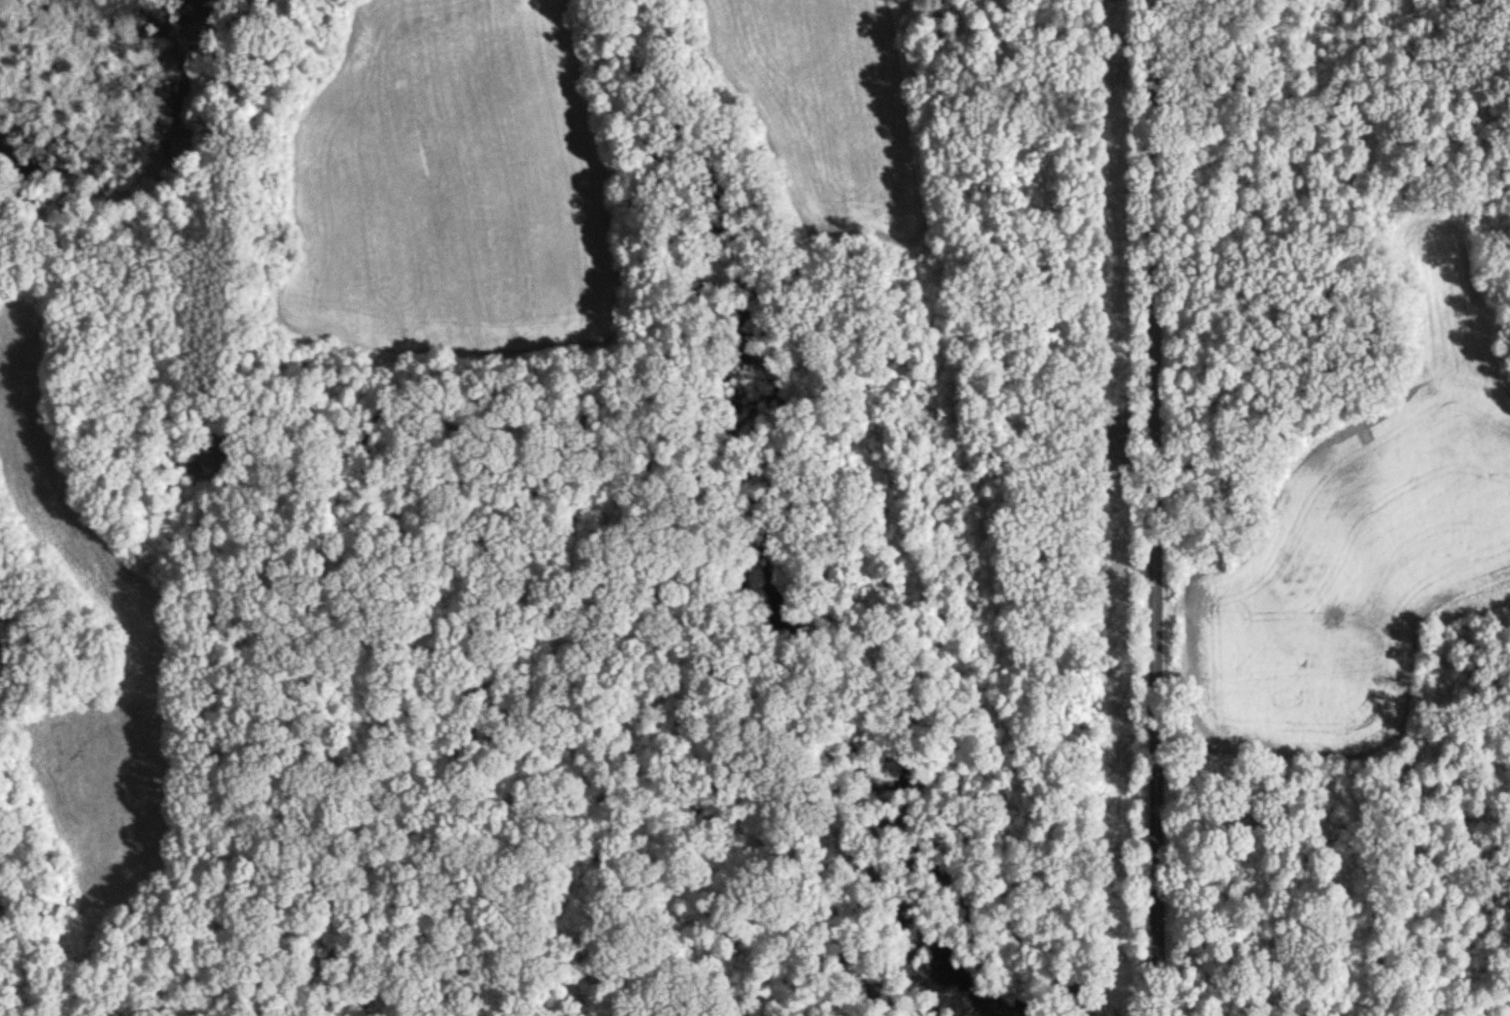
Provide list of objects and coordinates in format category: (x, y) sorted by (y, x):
road: (1152, 508)

